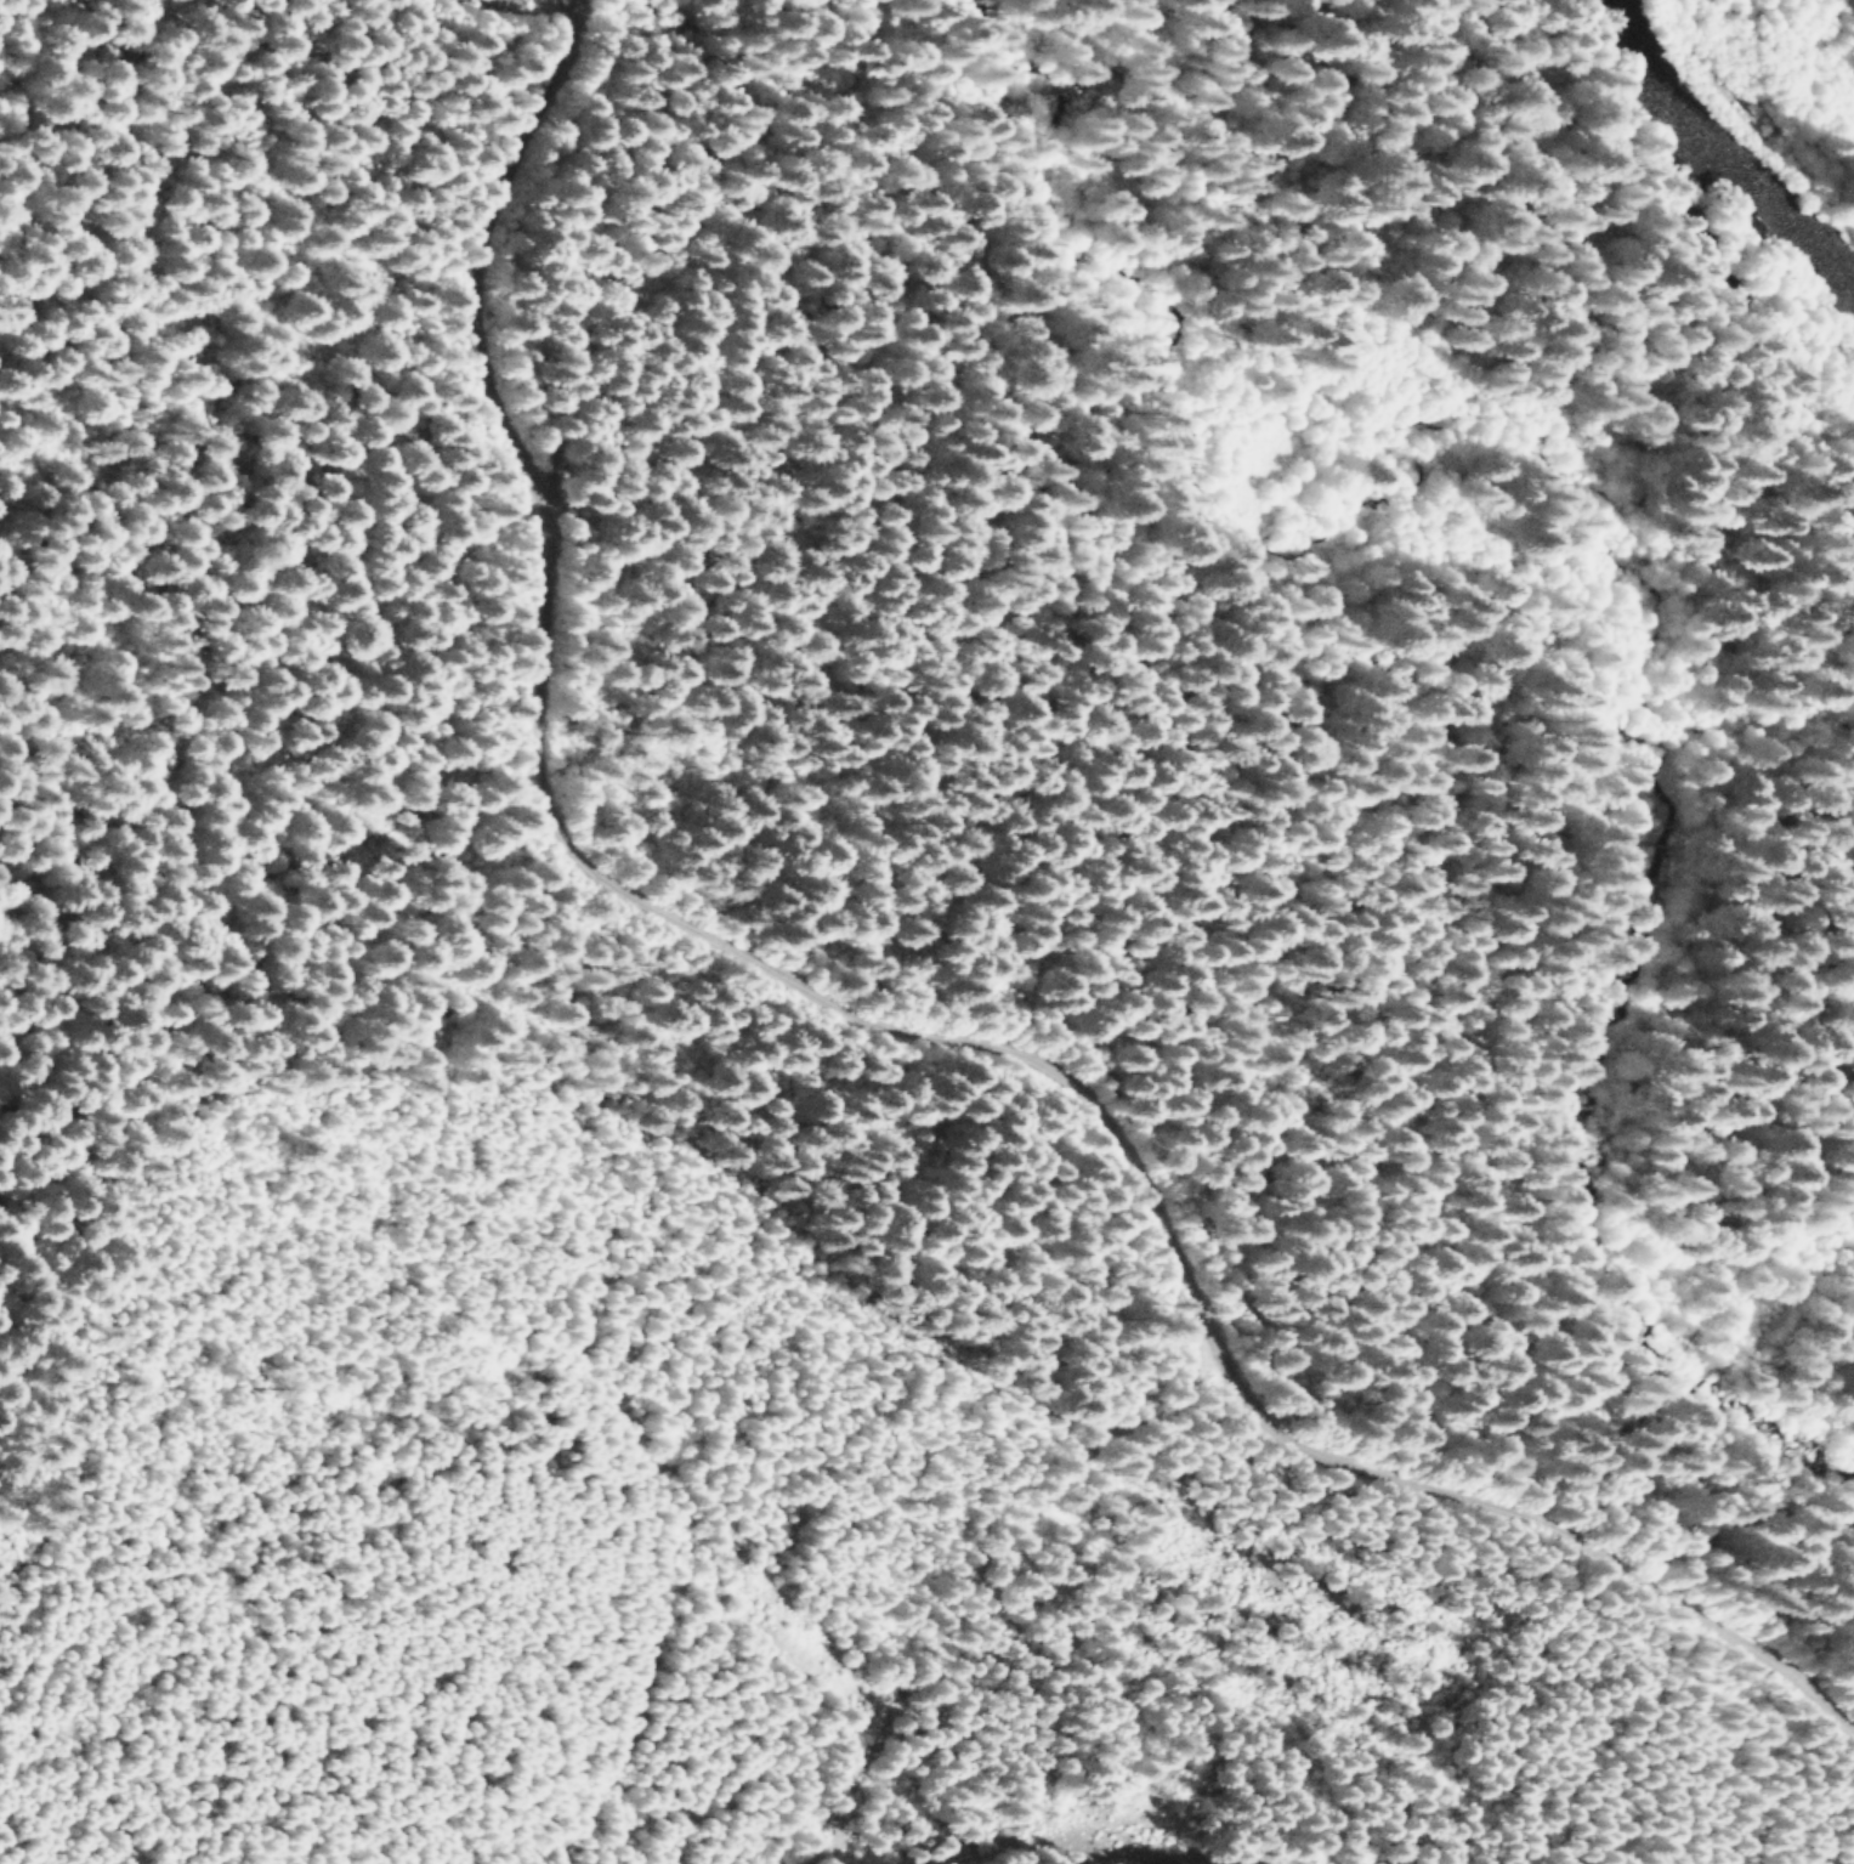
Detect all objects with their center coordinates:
river: (1767, 102)
road: (903, 1012)

